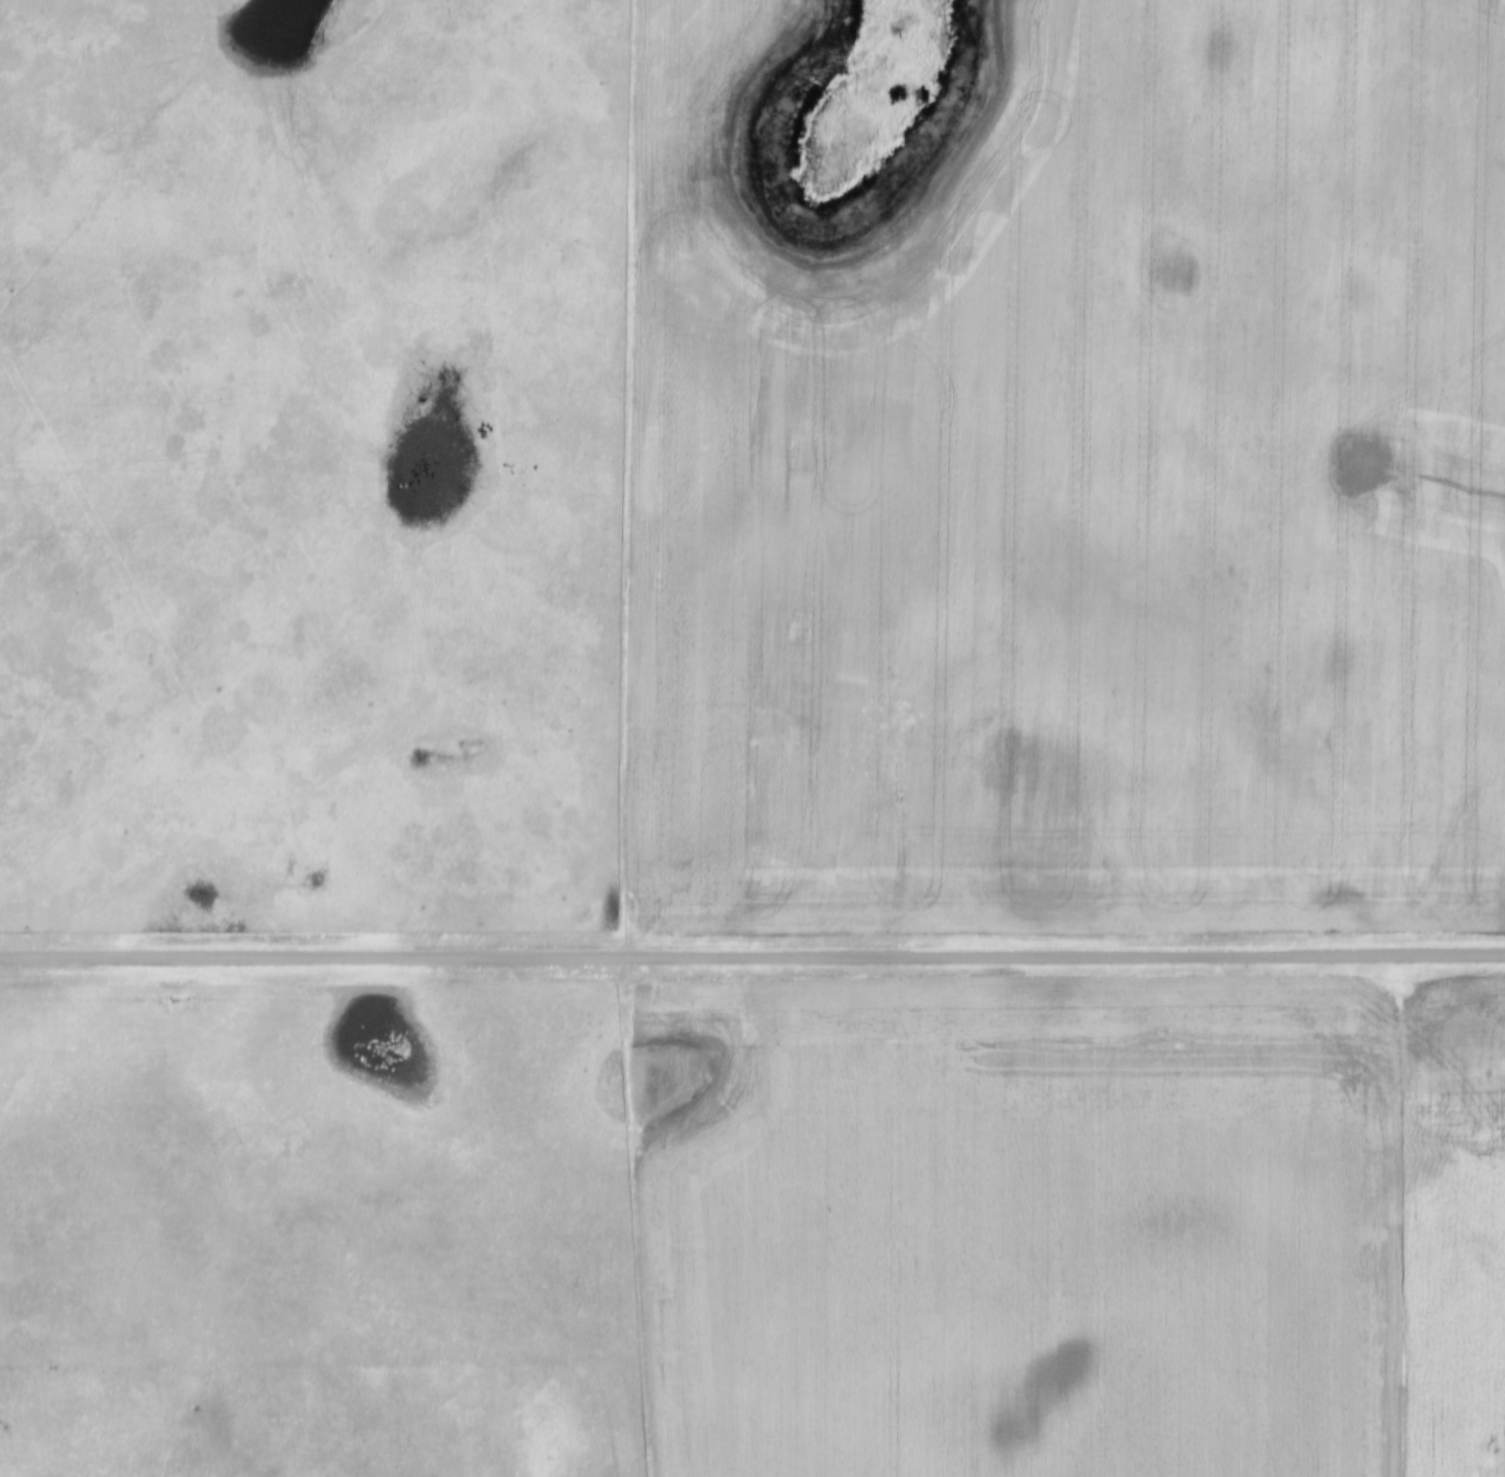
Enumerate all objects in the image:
road: (752, 959)

